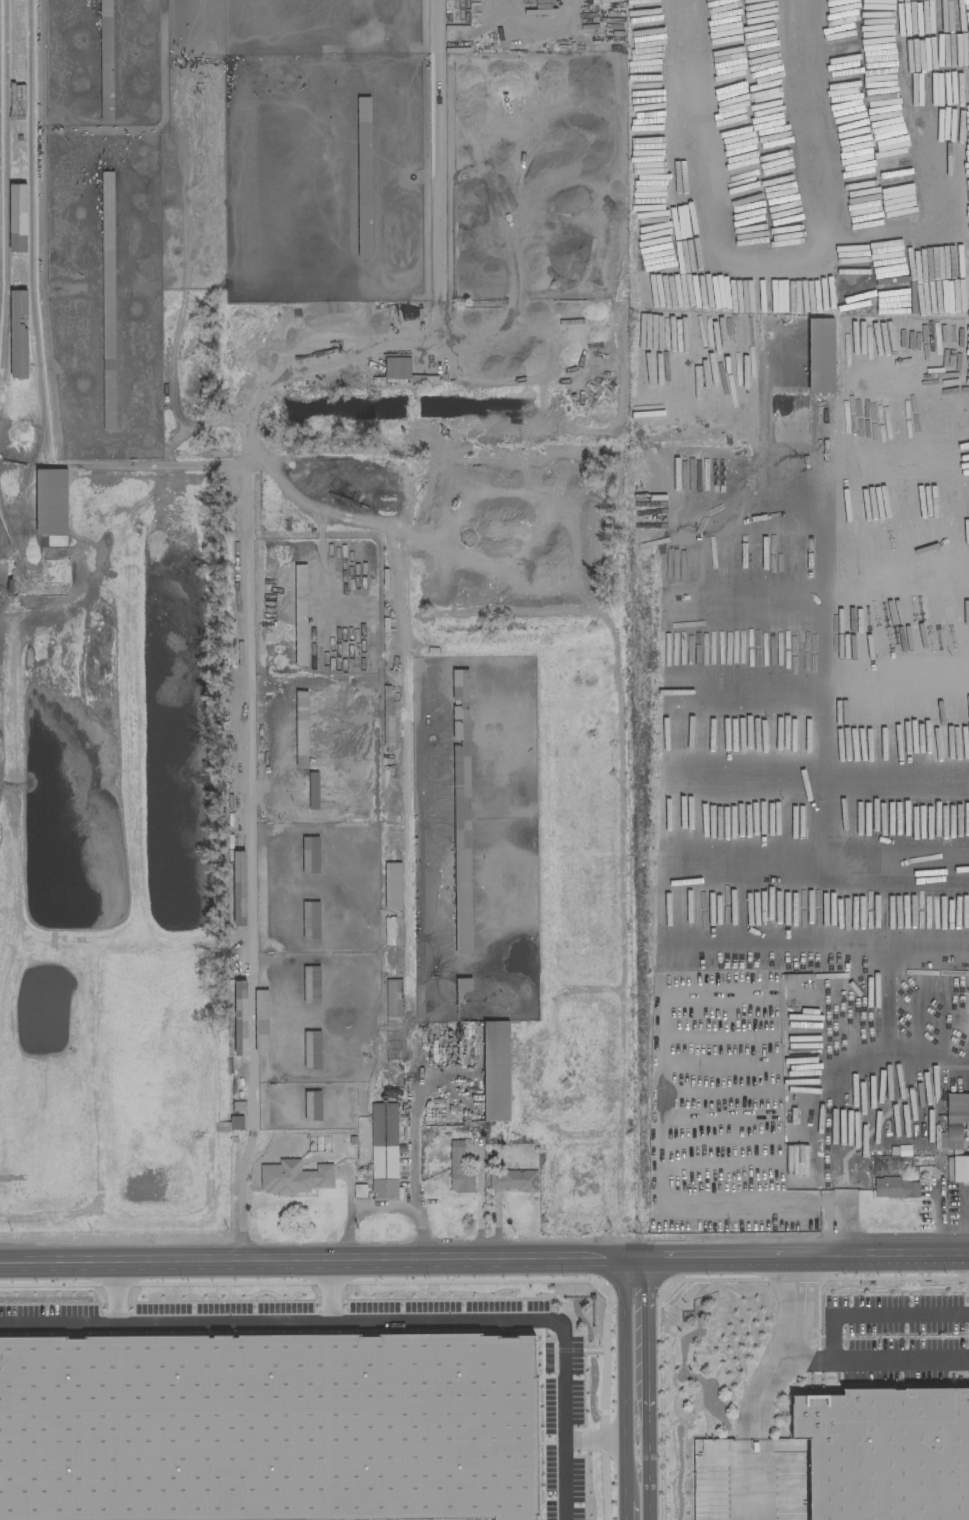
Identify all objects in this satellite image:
road: (437, 147)
building: (363, 177)
building: (17, 217)
building: (107, 300)
building: (18, 333)
building: (820, 355)
building: (396, 367)
building: (50, 501)
building: (300, 614)
building: (390, 716)
building: (301, 729)
building: (312, 790)
building: (461, 808)
building: (309, 855)
building: (392, 885)
building: (238, 888)
road: (255, 919)
building: (310, 920)
building: (388, 930)
building: (463, 983)
building: (311, 984)
building: (393, 997)
building: (250, 1019)
building: (311, 1049)
building: (495, 1071)
building: (312, 1105)
building: (954, 1121)
building: (235, 1122)
building: (383, 1151)
building: (960, 1168)
building: (458, 1170)
building: (293, 1177)
building: (512, 1180)
building: (894, 1187)
building: (359, 1190)
road: (388, 1206)
road: (966, 1216)
road: (795, 1248)
road: (311, 1253)
road: (332, 1282)
road: (115, 1283)
road: (792, 1302)
road: (383, 1311)
road: (877, 1313)
road: (874, 1359)
road: (624, 1384)
road: (645, 1385)
road: (596, 1430)
road: (754, 1434)
building: (882, 1446)

